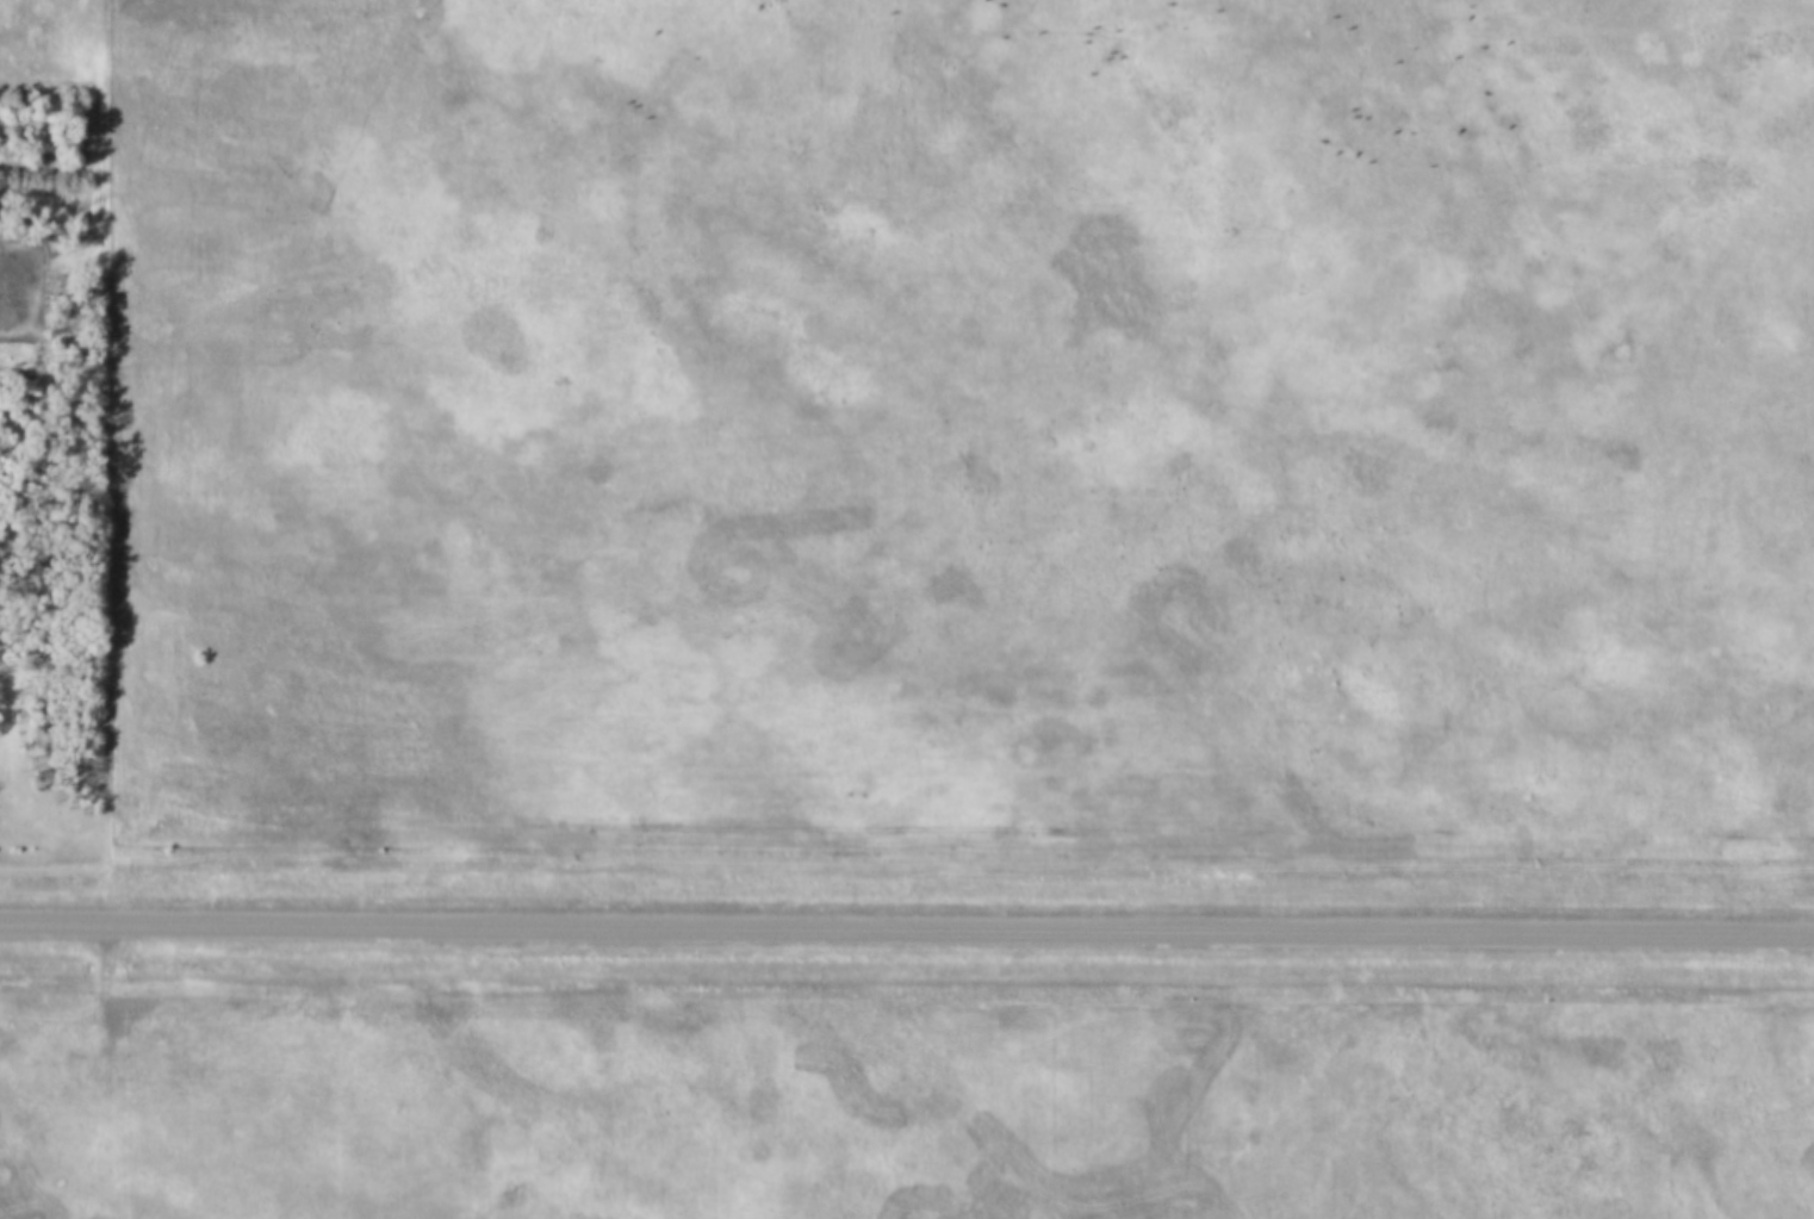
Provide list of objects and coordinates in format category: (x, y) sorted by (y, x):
road: (906, 922)

